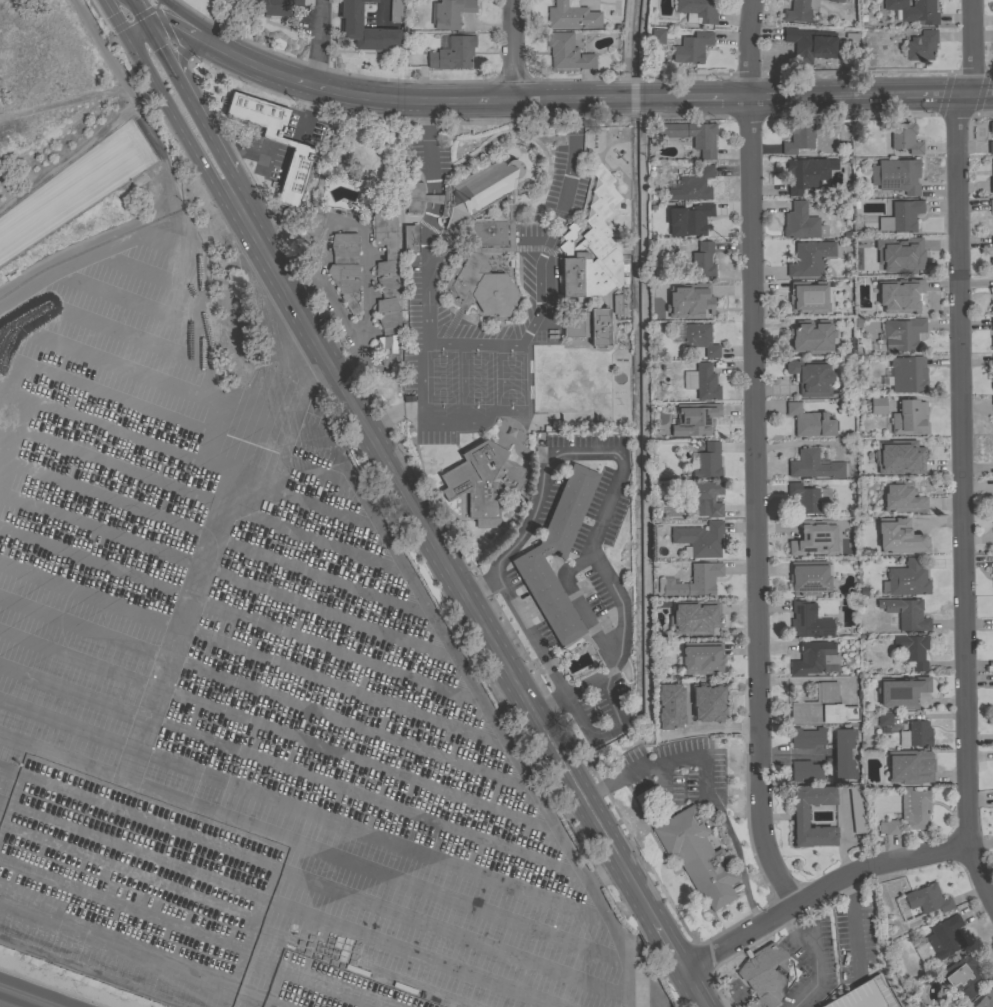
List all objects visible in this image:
building: (836, 1)
road: (108, 6)
building: (272, 7)
road: (382, 10)
building: (395, 11)
building: (697, 11)
building: (914, 11)
building: (797, 12)
road: (139, 13)
building: (450, 13)
road: (136, 16)
building: (571, 16)
road: (196, 24)
road: (119, 26)
road: (164, 26)
traffic signals: (147, 27)
building: (364, 28)
road: (176, 32)
building: (657, 36)
traffic signals: (127, 39)
road: (317, 42)
road: (99, 43)
building: (809, 44)
building: (921, 46)
building: (692, 48)
road: (512, 49)
road: (161, 50)
road: (180, 51)
building: (566, 52)
building: (452, 54)
road: (189, 81)
road: (605, 97)
road: (190, 101)
road: (173, 119)
building: (991, 127)
building: (691, 136)
building: (798, 138)
building: (904, 139)
building: (275, 142)
road: (429, 147)
building: (990, 147)
road: (223, 158)
building: (992, 164)
building: (807, 174)
building: (896, 175)
road: (569, 178)
building: (692, 185)
track: (72, 186)
building: (992, 186)
road: (432, 199)
building: (991, 206)
building: (901, 217)
building: (692, 219)
building: (313, 222)
building: (801, 223)
building: (476, 233)
building: (410, 239)
road: (191, 241)
road: (364, 242)
building: (991, 242)
building: (864, 243)
building: (593, 246)
building: (905, 257)
building: (810, 259)
road: (100, 260)
building: (698, 262)
building: (991, 265)
building: (345, 269)
road: (427, 272)
building: (387, 291)
building: (907, 294)
building: (807, 298)
road: (69, 300)
building: (704, 302)
building: (618, 306)
building: (991, 307)
road: (340, 312)
building: (992, 324)
building: (588, 326)
building: (900, 335)
building: (798, 338)
building: (700, 339)
road: (521, 343)
building: (992, 362)
building: (906, 374)
road: (73, 376)
building: (810, 377)
building: (702, 382)
road: (278, 384)
building: (991, 384)
building: (992, 401)
building: (877, 406)
building: (909, 418)
building: (694, 419)
road: (960, 421)
building: (809, 422)
road: (752, 456)
building: (908, 456)
building: (708, 462)
building: (815, 465)
road: (301, 469)
road: (129, 476)
building: (481, 482)
building: (704, 498)
building: (807, 498)
building: (902, 498)
road: (307, 506)
road: (596, 535)
building: (899, 537)
building: (699, 540)
building: (806, 540)
road: (220, 541)
building: (846, 549)
building: (557, 555)
road: (439, 556)
building: (809, 577)
road: (228, 578)
building: (906, 579)
building: (693, 581)
building: (906, 613)
road: (240, 618)
building: (704, 620)
building: (808, 622)
building: (912, 650)
road: (252, 655)
building: (811, 657)
building: (702, 658)
road: (585, 684)
road: (475, 687)
road: (264, 692)
building: (901, 692)
building: (701, 697)
road: (152, 703)
parking lot: (253, 703)
building: (663, 707)
building: (822, 707)
building: (884, 723)
road: (707, 728)
road: (276, 733)
building: (915, 735)
building: (806, 738)
road: (790, 754)
building: (843, 754)
building: (909, 767)
building: (804, 771)
road: (290, 772)
road: (704, 786)
building: (914, 808)
road: (302, 809)
building: (857, 810)
building: (799, 816)
building: (889, 827)
road: (312, 850)
building: (697, 856)
road: (602, 874)
road: (979, 876)
road: (314, 882)
road: (818, 891)
road: (70, 896)
building: (927, 899)
road: (279, 906)
road: (233, 920)
road: (853, 923)
road: (63, 933)
building: (944, 938)
road: (220, 944)
road: (804, 945)
road: (668, 946)
road: (188, 963)
building: (767, 974)
building: (961, 977)
road: (234, 979)
road: (315, 979)
road: (693, 989)
road: (171, 992)
track: (36, 993)
road: (804, 996)
building: (867, 996)
building: (985, 999)
road: (284, 1001)

